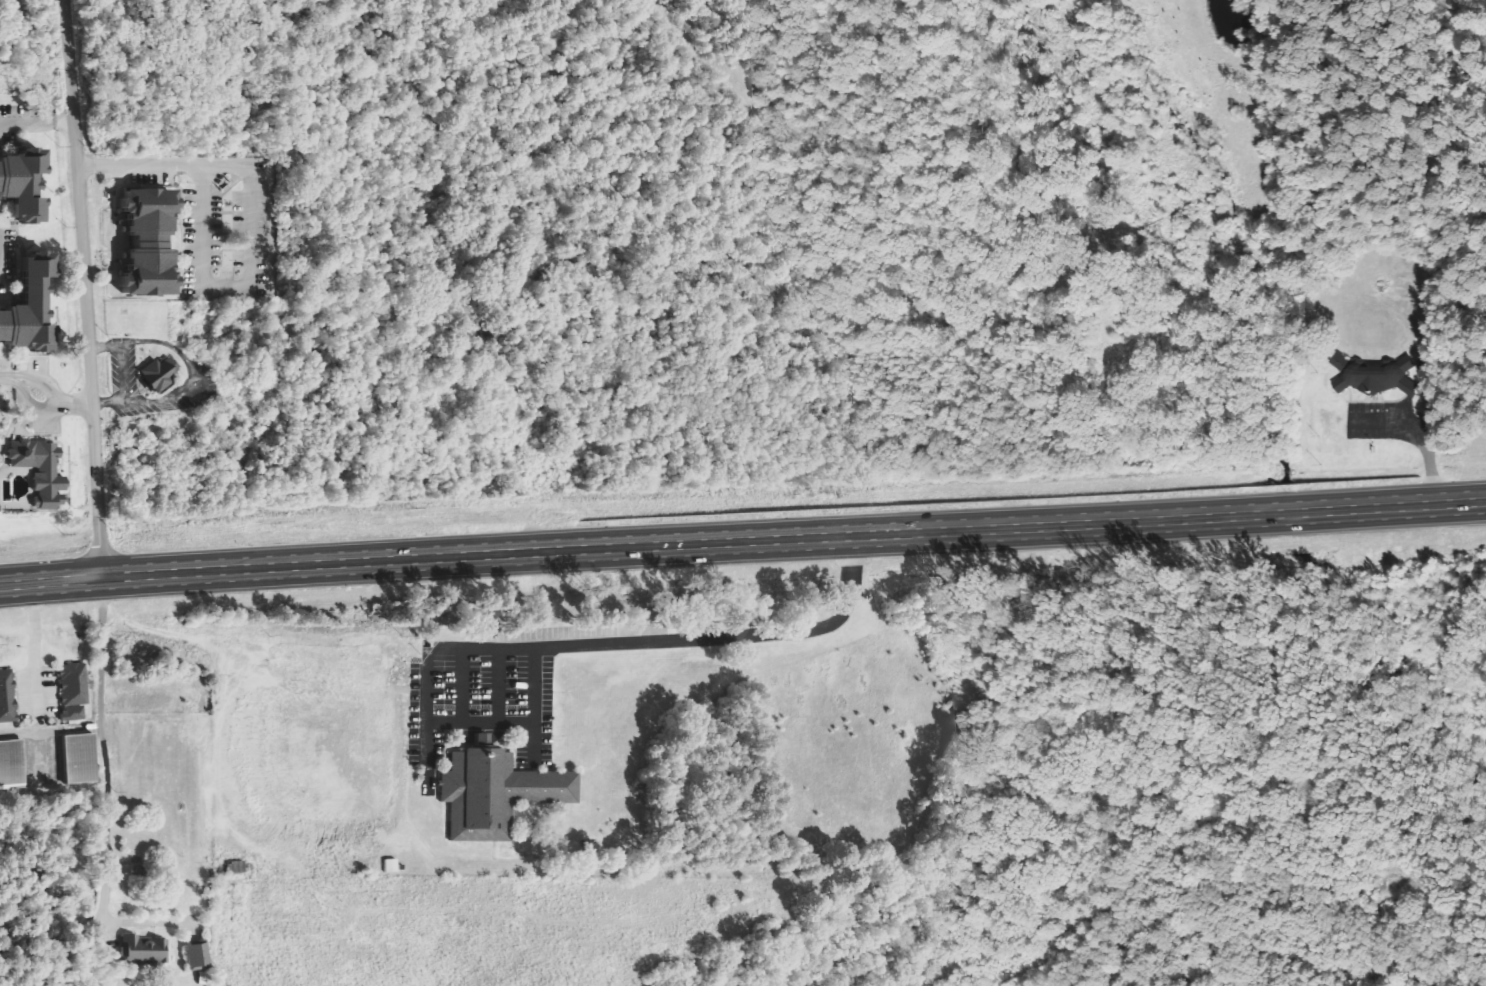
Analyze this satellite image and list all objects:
road: (38, 123)
road: (195, 171)
building: (25, 185)
building: (151, 244)
road: (87, 290)
building: (32, 309)
building: (160, 374)
building: (1378, 377)
road: (43, 403)
building: (41, 471)
road: (743, 552)
road: (661, 643)
building: (74, 691)
building: (7, 697)
building: (76, 759)
building: (11, 765)
building: (492, 792)
building: (391, 865)
building: (236, 866)
building: (146, 949)
building: (199, 955)

